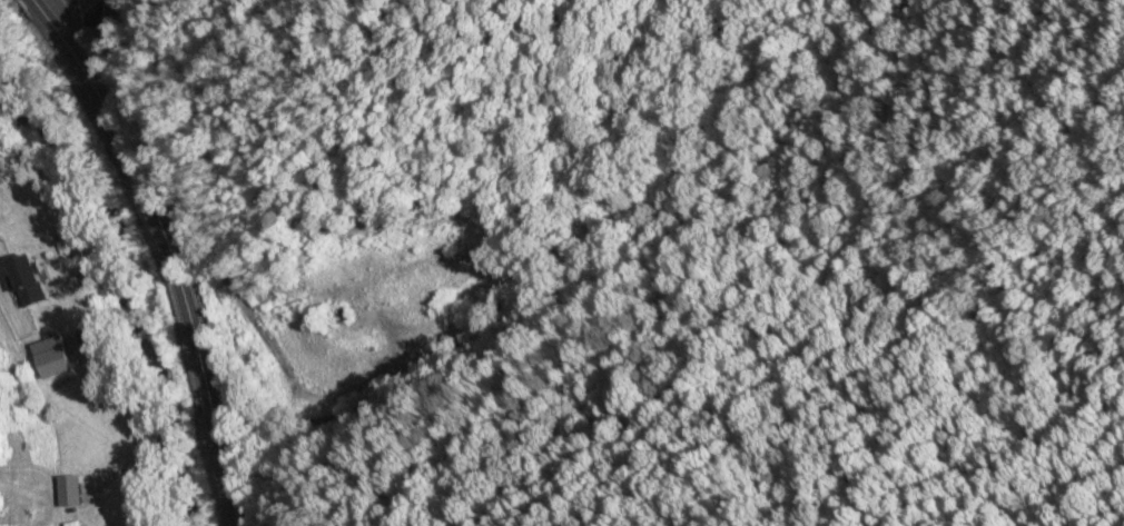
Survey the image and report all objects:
building: (96, 7)
road: (169, 250)
building: (24, 280)
building: (346, 311)

